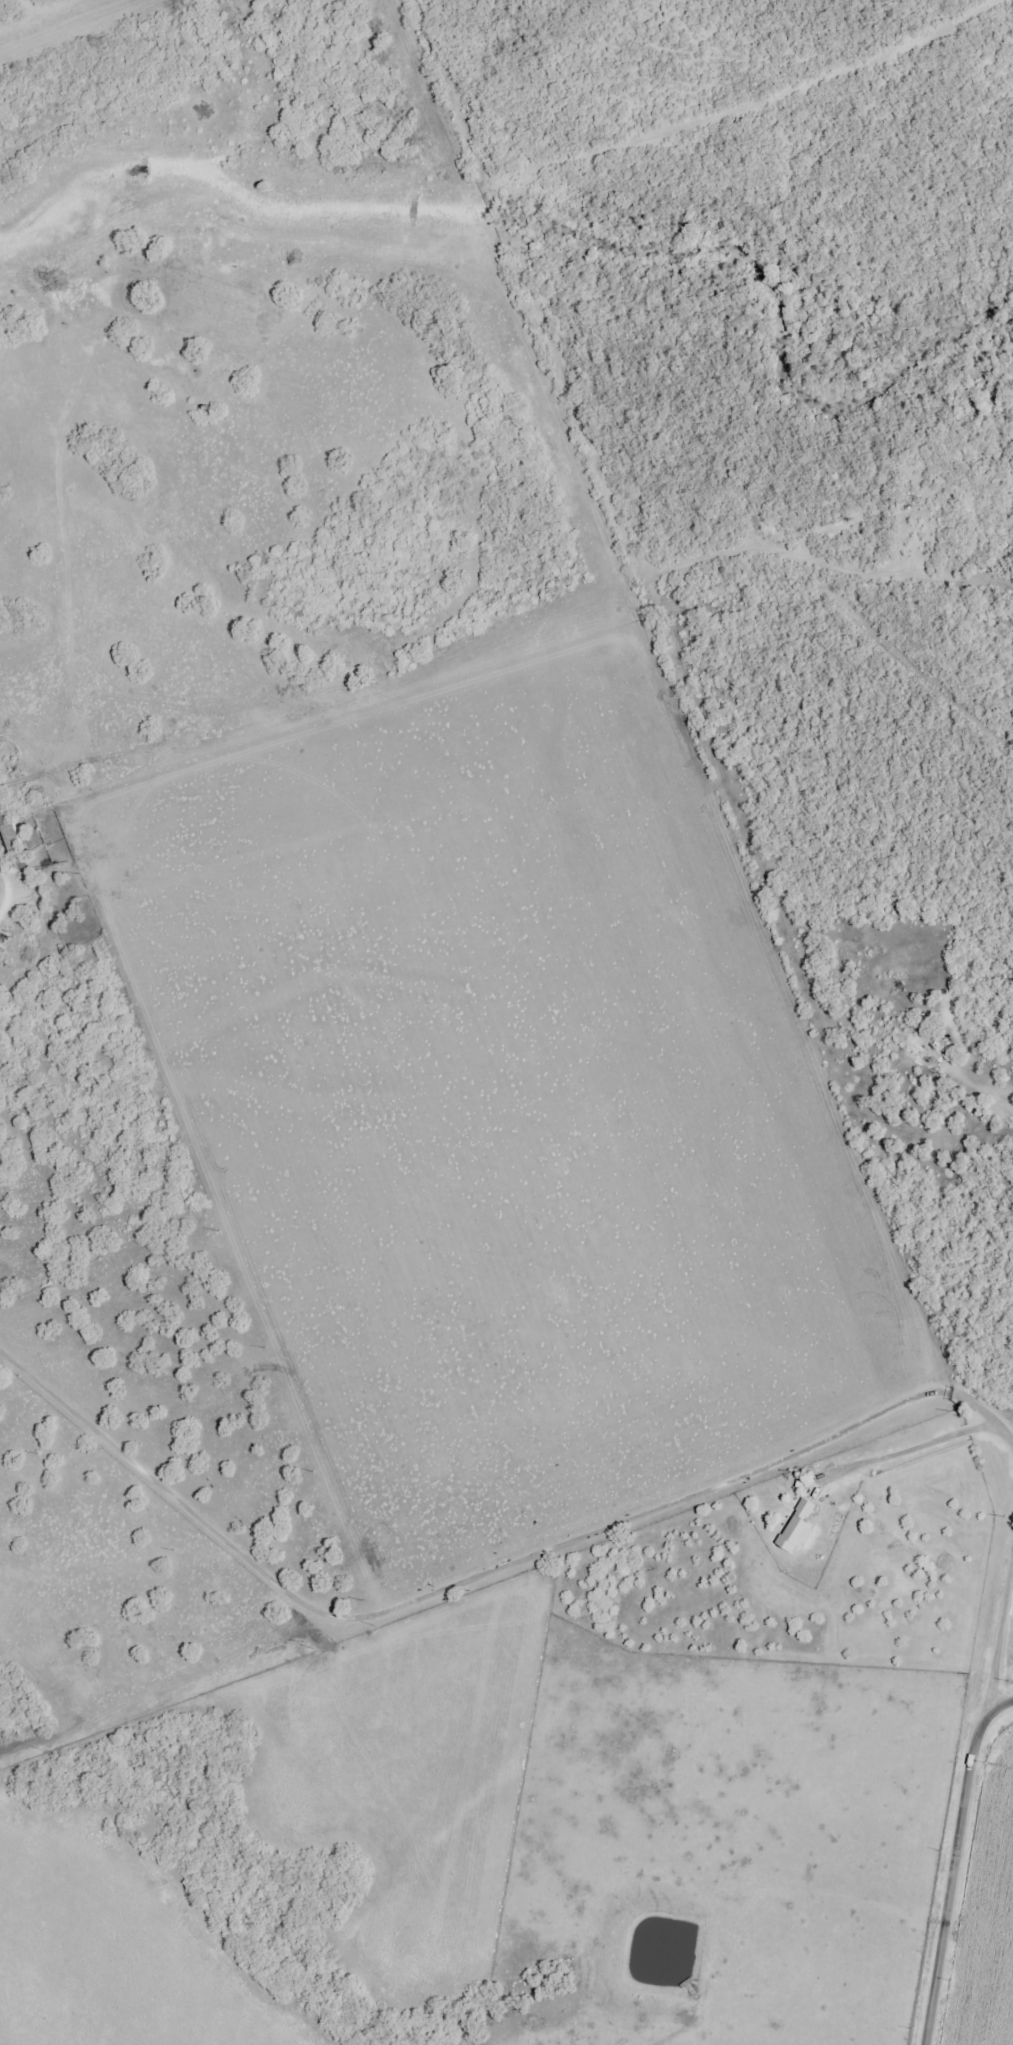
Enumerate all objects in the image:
building: (8, 843)
building: (800, 1525)
road: (1002, 1631)
road: (952, 1859)

